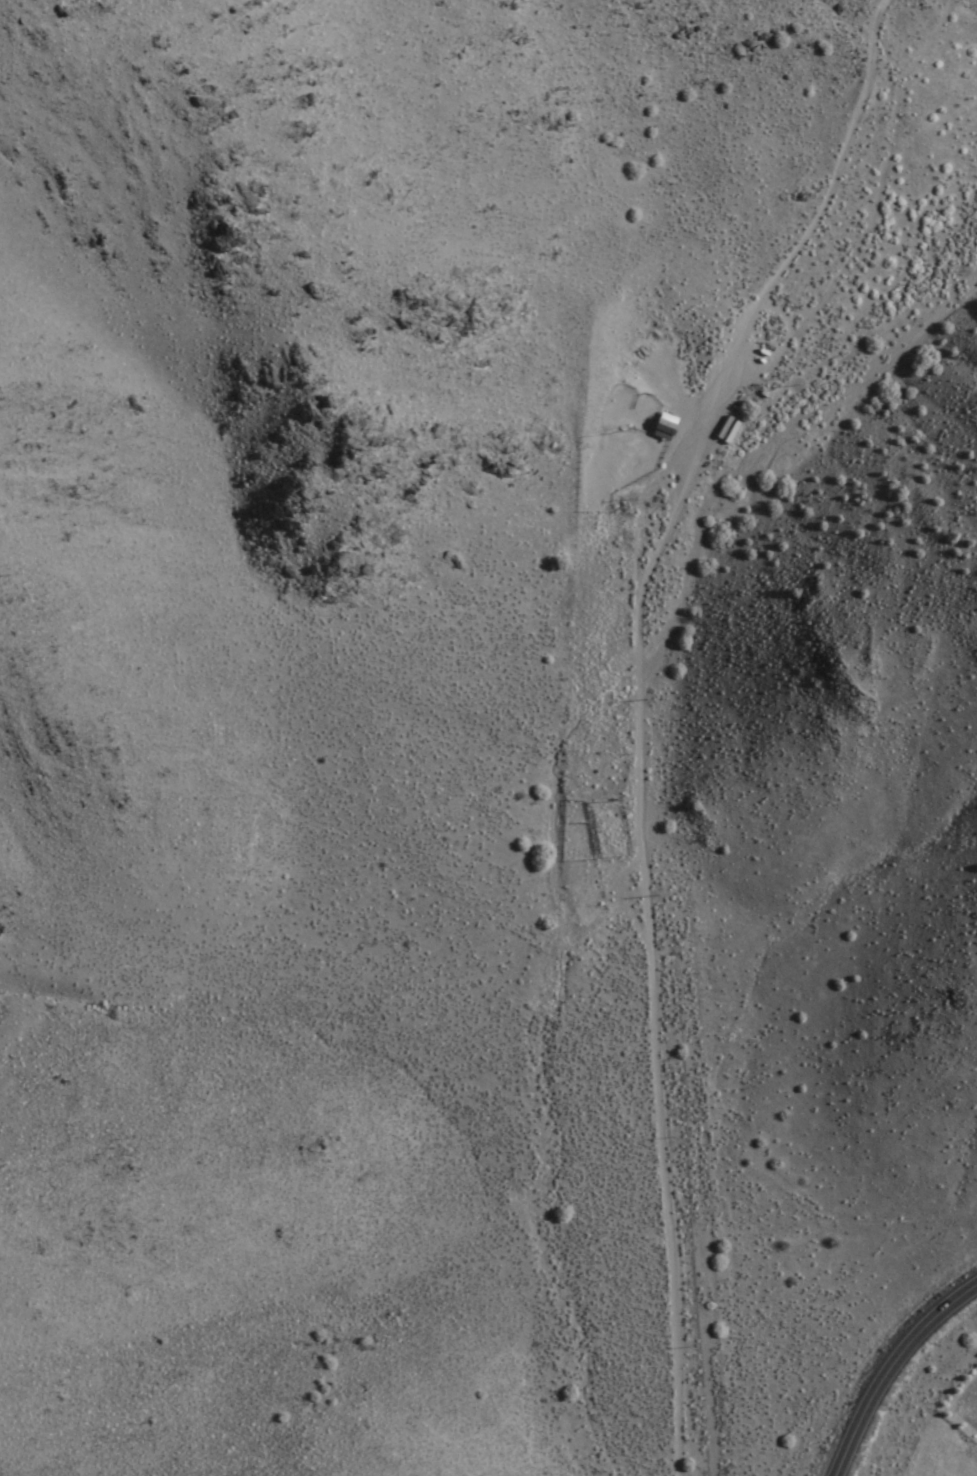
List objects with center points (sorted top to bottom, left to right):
building: (663, 427)
road: (643, 678)
road: (893, 1372)

